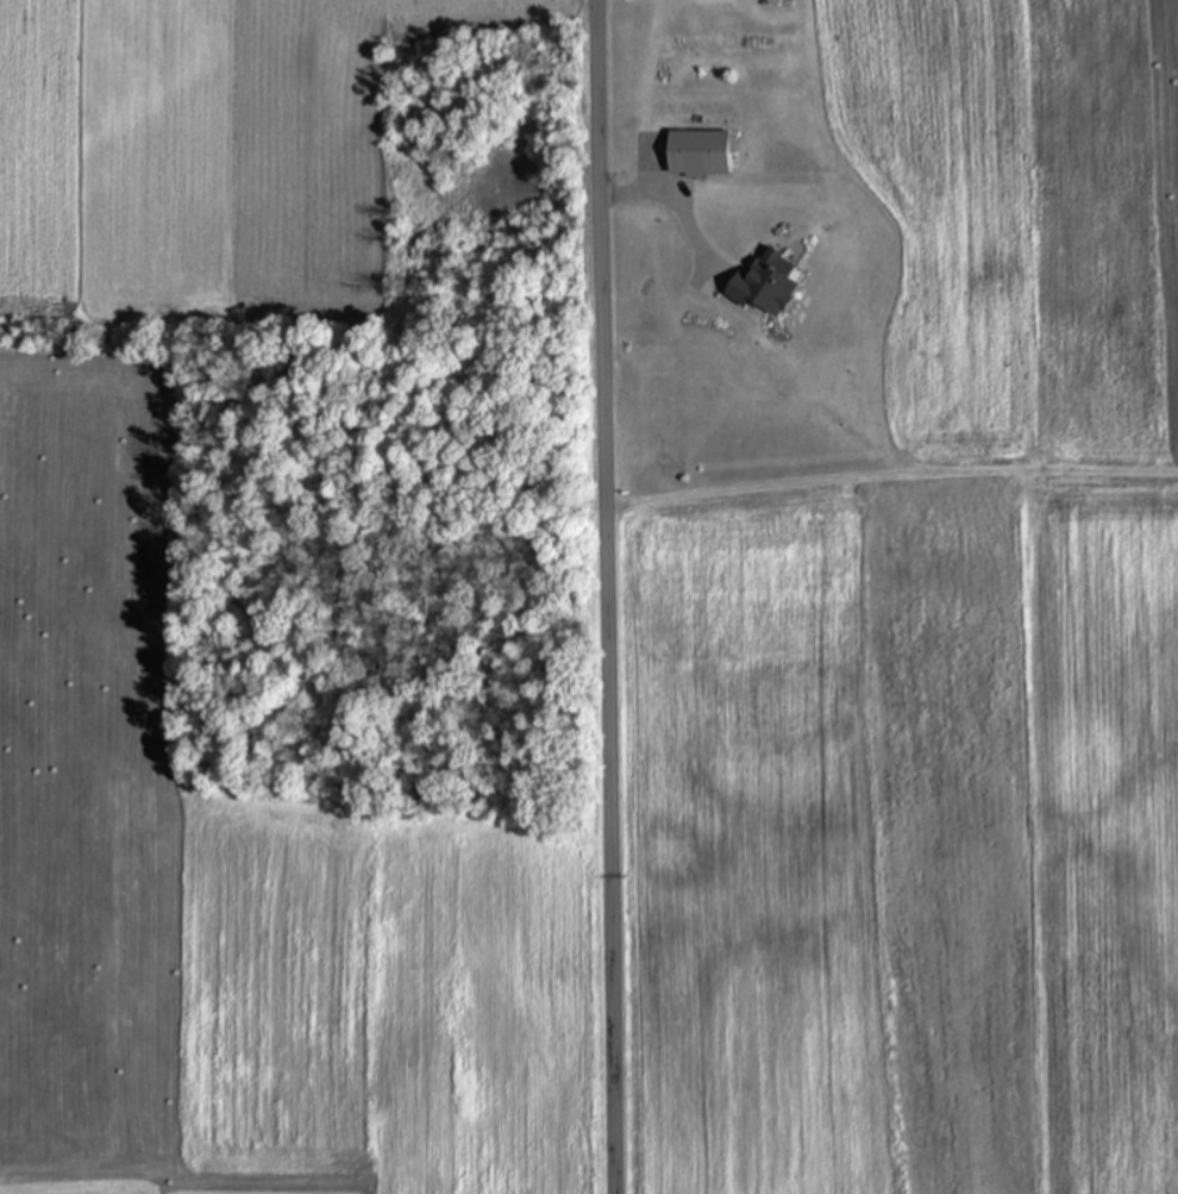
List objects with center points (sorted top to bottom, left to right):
building: (700, 154)
road: (672, 204)
building: (766, 285)
road: (606, 596)

